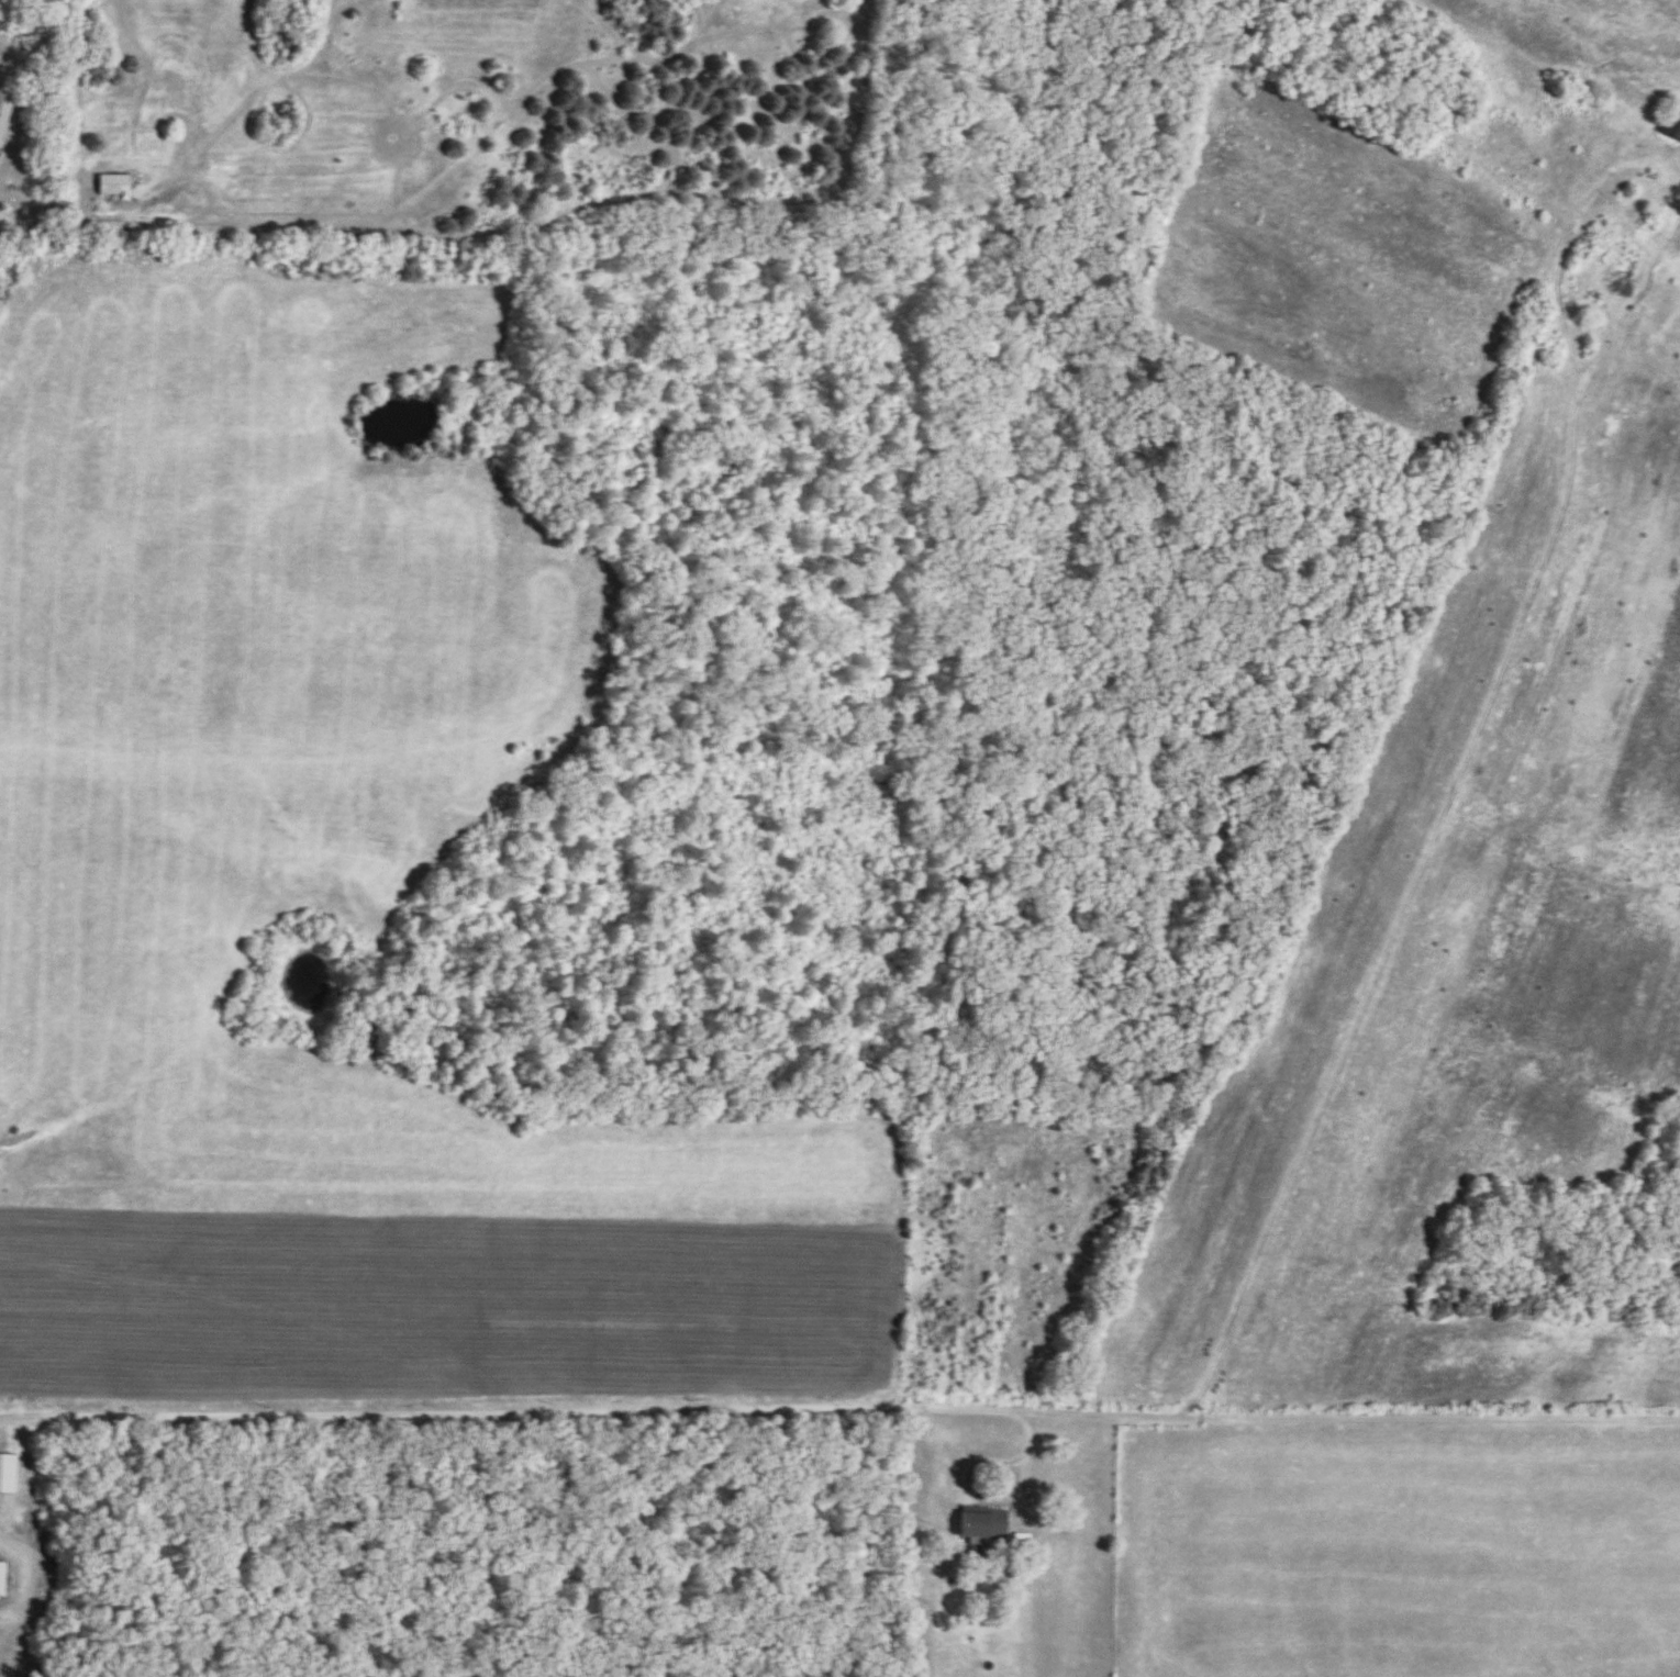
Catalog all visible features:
building: (2, 109)
building: (1677, 133)
building: (114, 187)
road: (1593, 199)
road: (1443, 815)
road: (839, 1410)
building: (8, 1475)
road: (1024, 1478)
building: (983, 1525)
road: (1, 1541)
building: (2, 1579)

